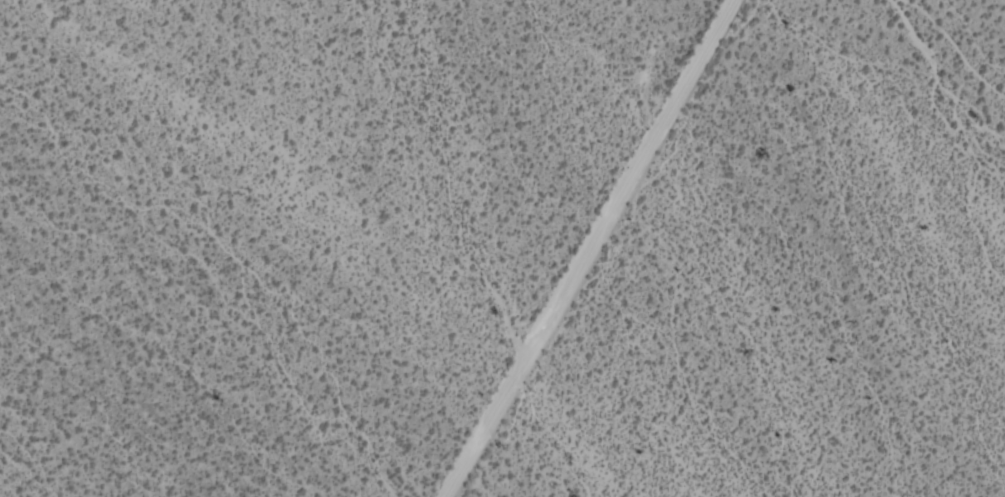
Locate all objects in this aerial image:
road: (604, 248)

